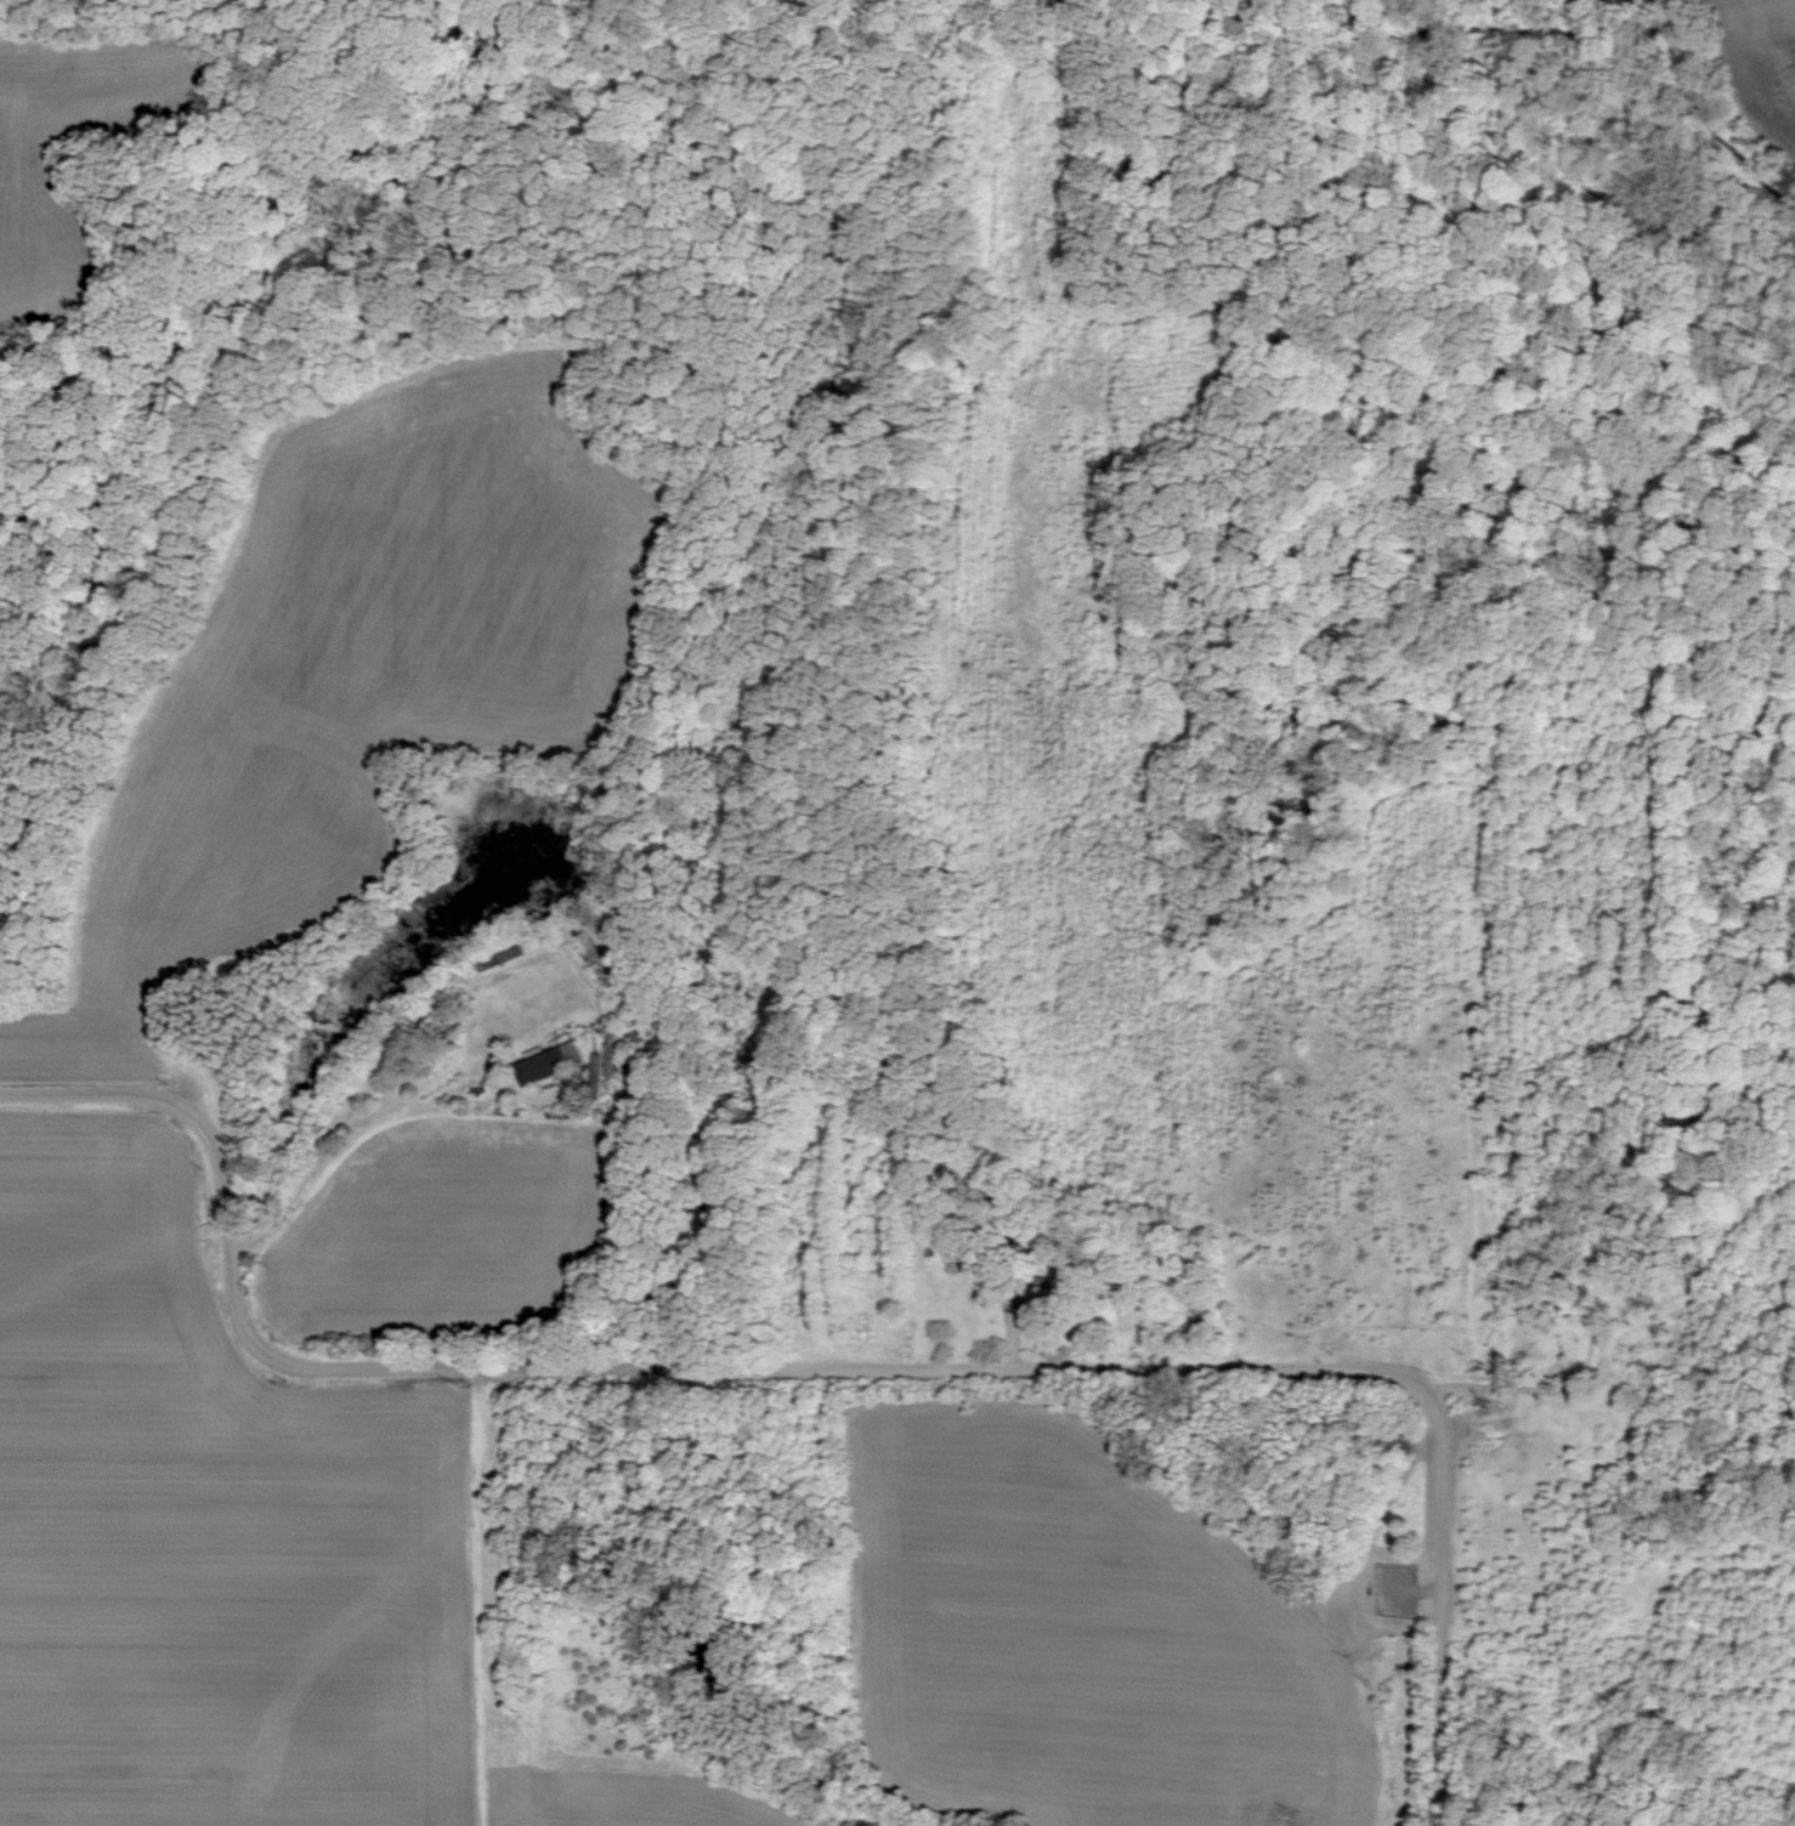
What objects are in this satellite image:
road: (1112, 321)
building: (550, 1062)
building: (596, 1064)
road: (619, 1369)
road: (1563, 1393)
parking lot: (1397, 1594)
road: (1437, 1606)
road: (1400, 1692)

